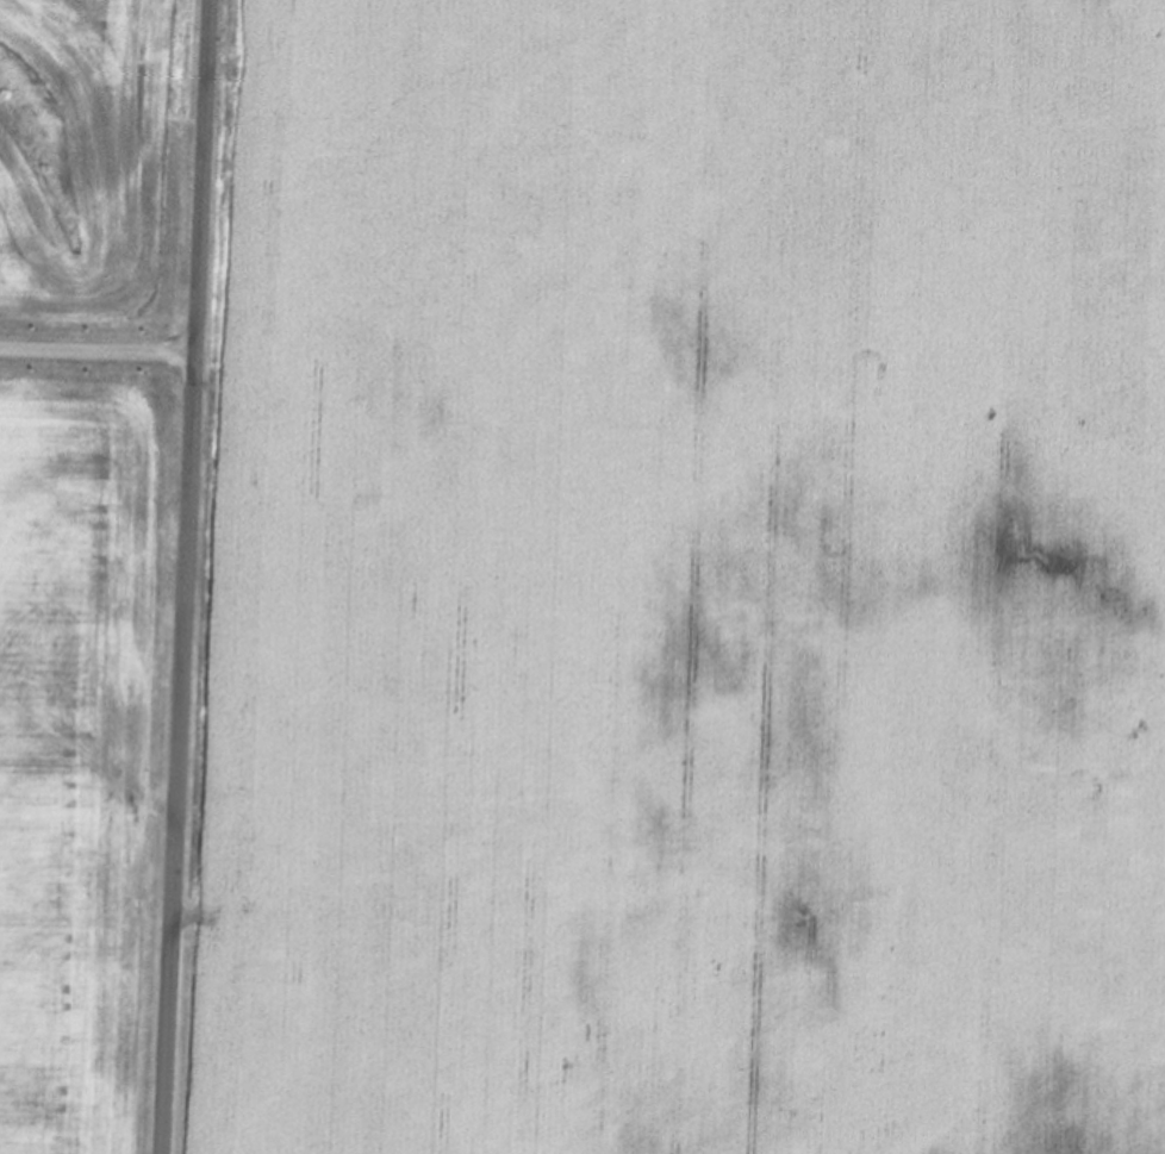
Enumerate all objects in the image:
road: (98, 351)
road: (185, 576)

